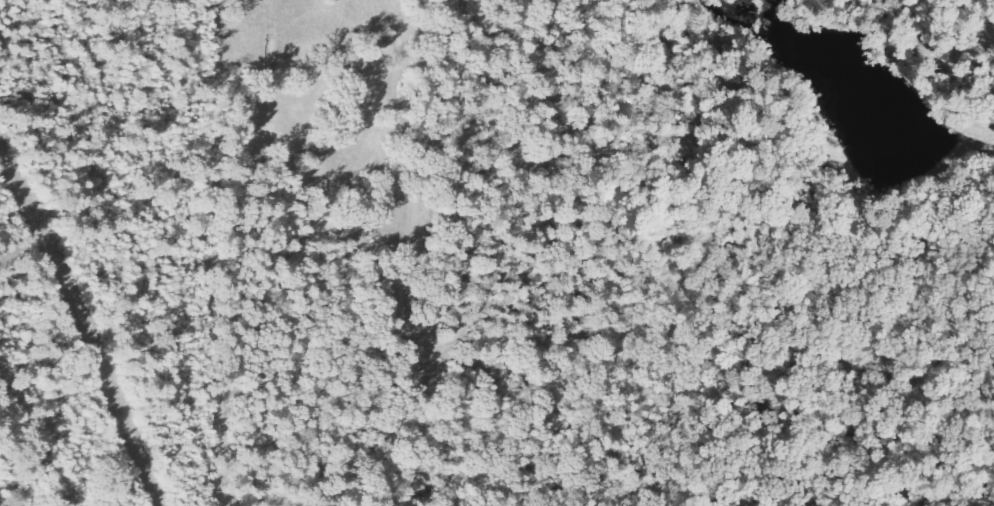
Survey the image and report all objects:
road: (936, 173)
road: (979, 185)
road: (772, 366)

